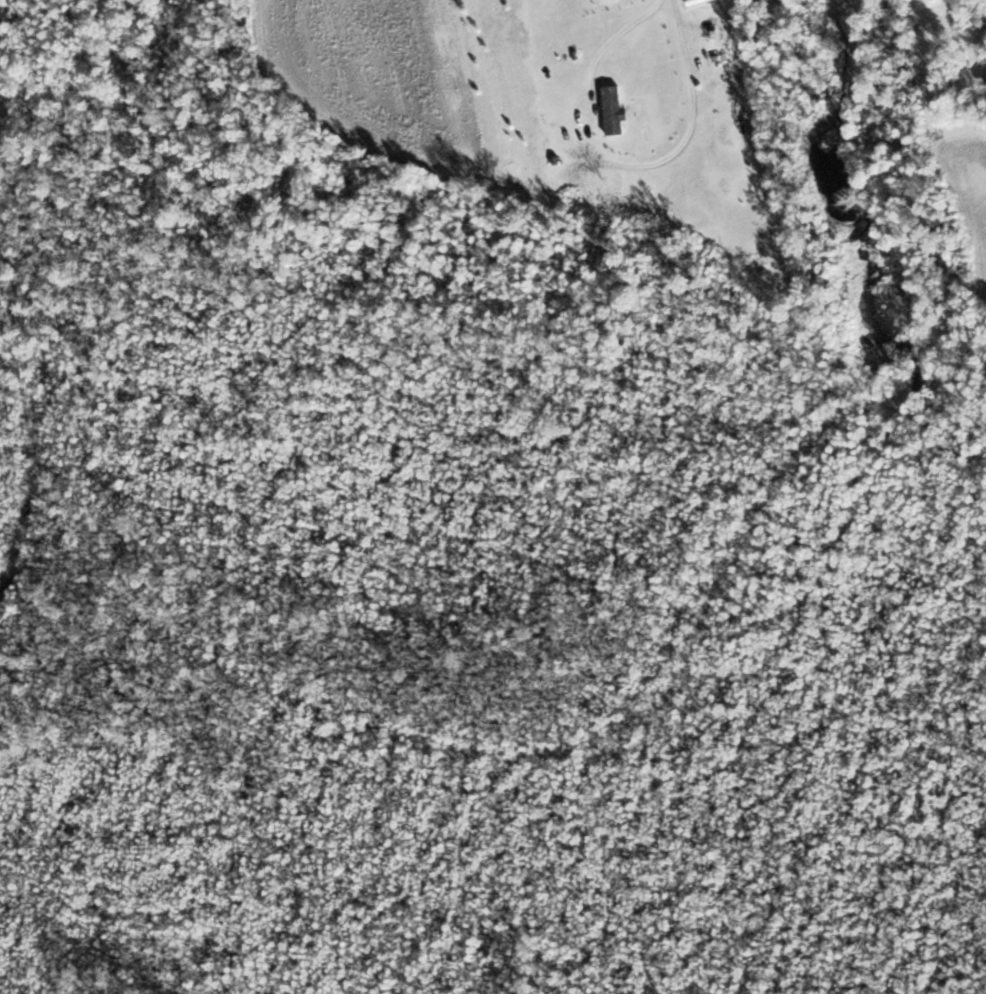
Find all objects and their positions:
building: (713, 7)
building: (617, 109)
road: (623, 160)

